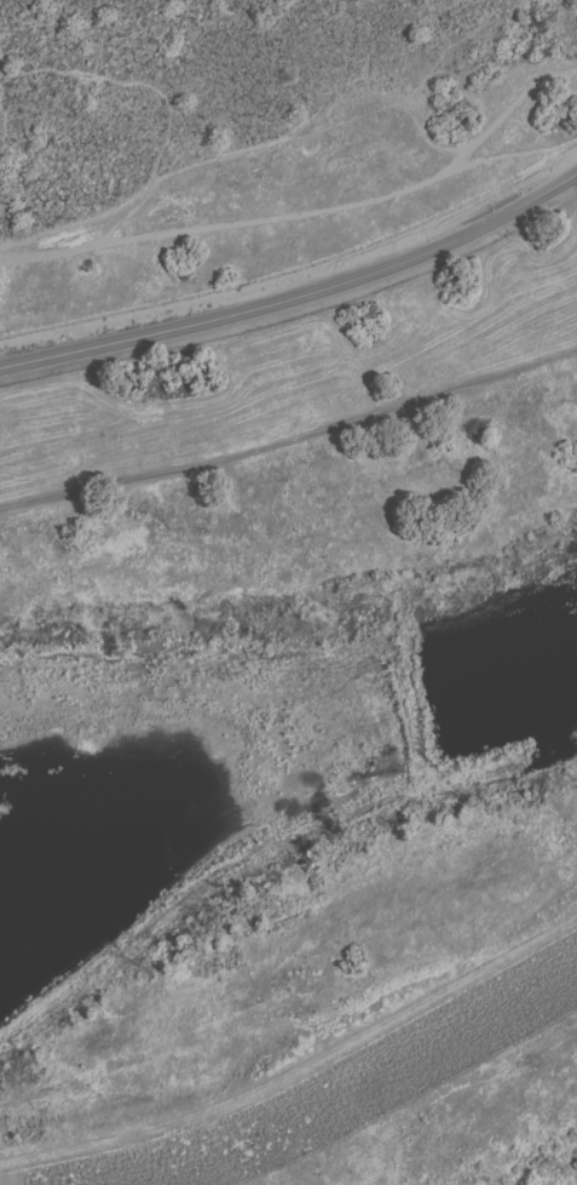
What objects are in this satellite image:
park: (254, 136)
road: (296, 294)
road: (290, 439)
road: (2, 513)
road: (300, 1069)

